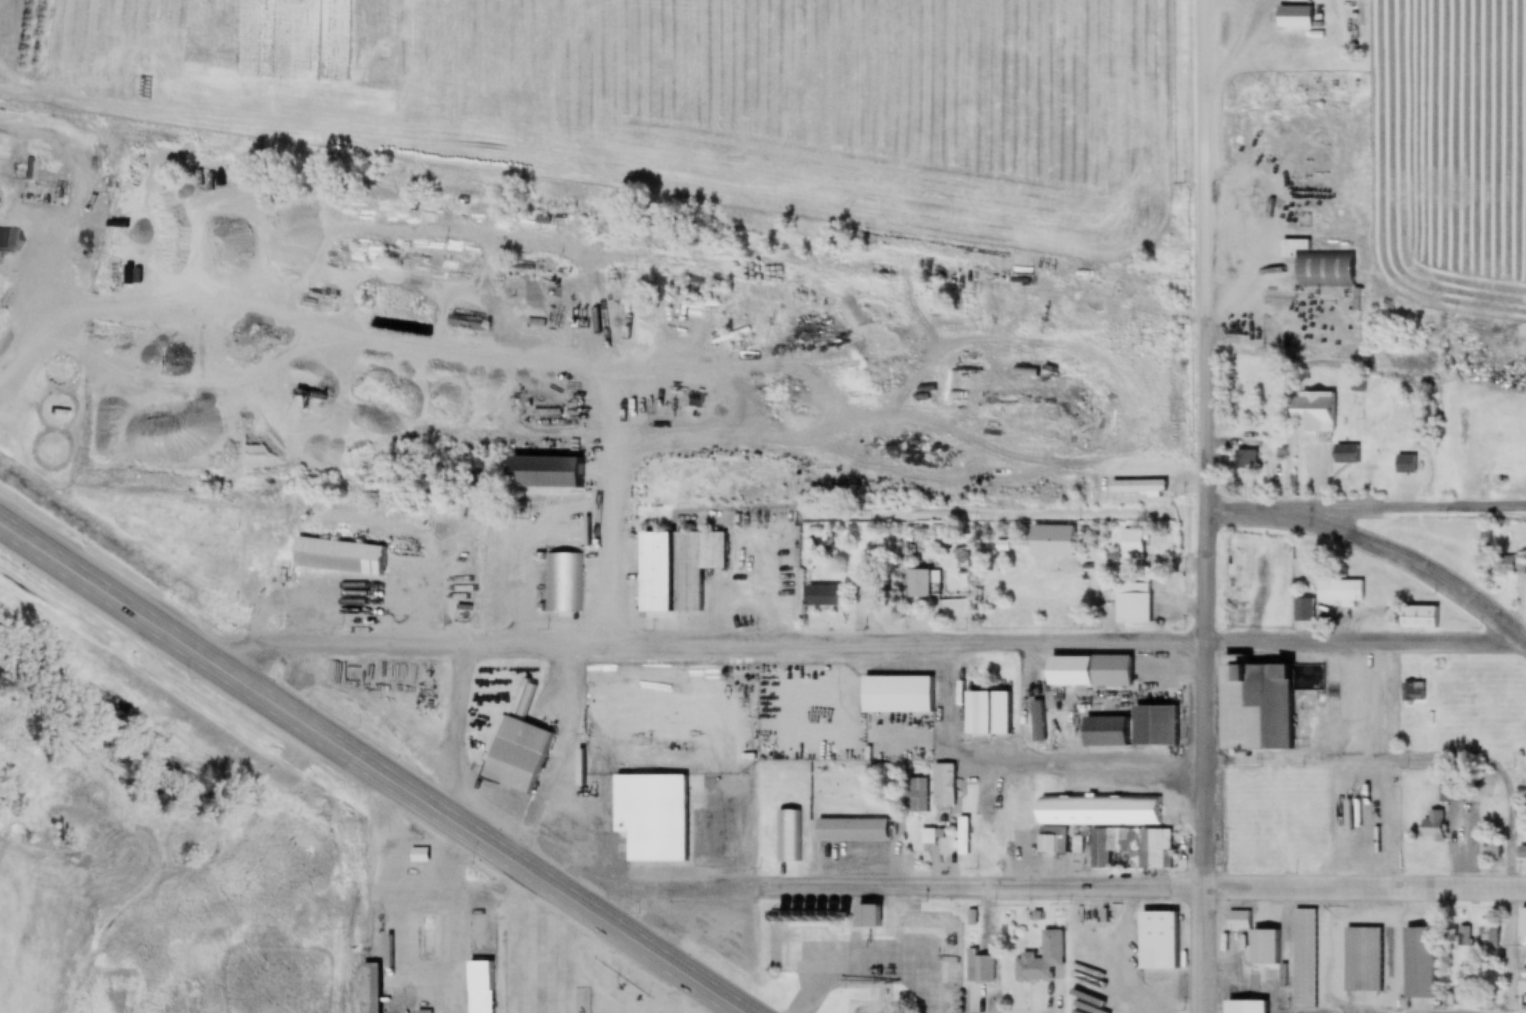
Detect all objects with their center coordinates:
building: (1293, 18)
road: (1210, 187)
building: (1319, 266)
building: (1025, 398)
building: (1312, 414)
building: (1346, 455)
building: (1245, 460)
building: (537, 474)
road: (1367, 507)
building: (1131, 548)
building: (335, 558)
road: (1412, 564)
building: (1508, 565)
building: (674, 570)
building: (563, 583)
building: (916, 585)
building: (1340, 592)
building: (819, 597)
building: (1132, 603)
building: (1303, 610)
building: (1419, 618)
road: (1209, 632)
road: (870, 638)
building: (1109, 671)
building: (894, 695)
building: (421, 701)
building: (1251, 704)
building: (973, 721)
building: (1152, 725)
building: (1101, 731)
building: (513, 754)
road: (1408, 764)
road: (372, 765)
building: (943, 785)
building: (1450, 790)
building: (917, 796)
building: (1098, 811)
building: (649, 816)
building: (1436, 825)
building: (850, 830)
building: (983, 833)
building: (961, 835)
building: (1267, 836)
building: (1050, 842)
building: (1132, 847)
building: (1490, 848)
airport: (158, 849)
building: (1521, 853)
road: (1140, 889)
road: (659, 892)
building: (1238, 921)
building: (873, 932)
building: (1488, 934)
building: (1156, 940)
road: (1508, 950)
road: (1204, 951)
building: (1305, 959)
building: (1041, 960)
building: (1420, 963)
building: (1363, 967)
building: (980, 968)
building: (481, 987)
building: (369, 988)
building: (453, 998)
building: (1245, 1007)

